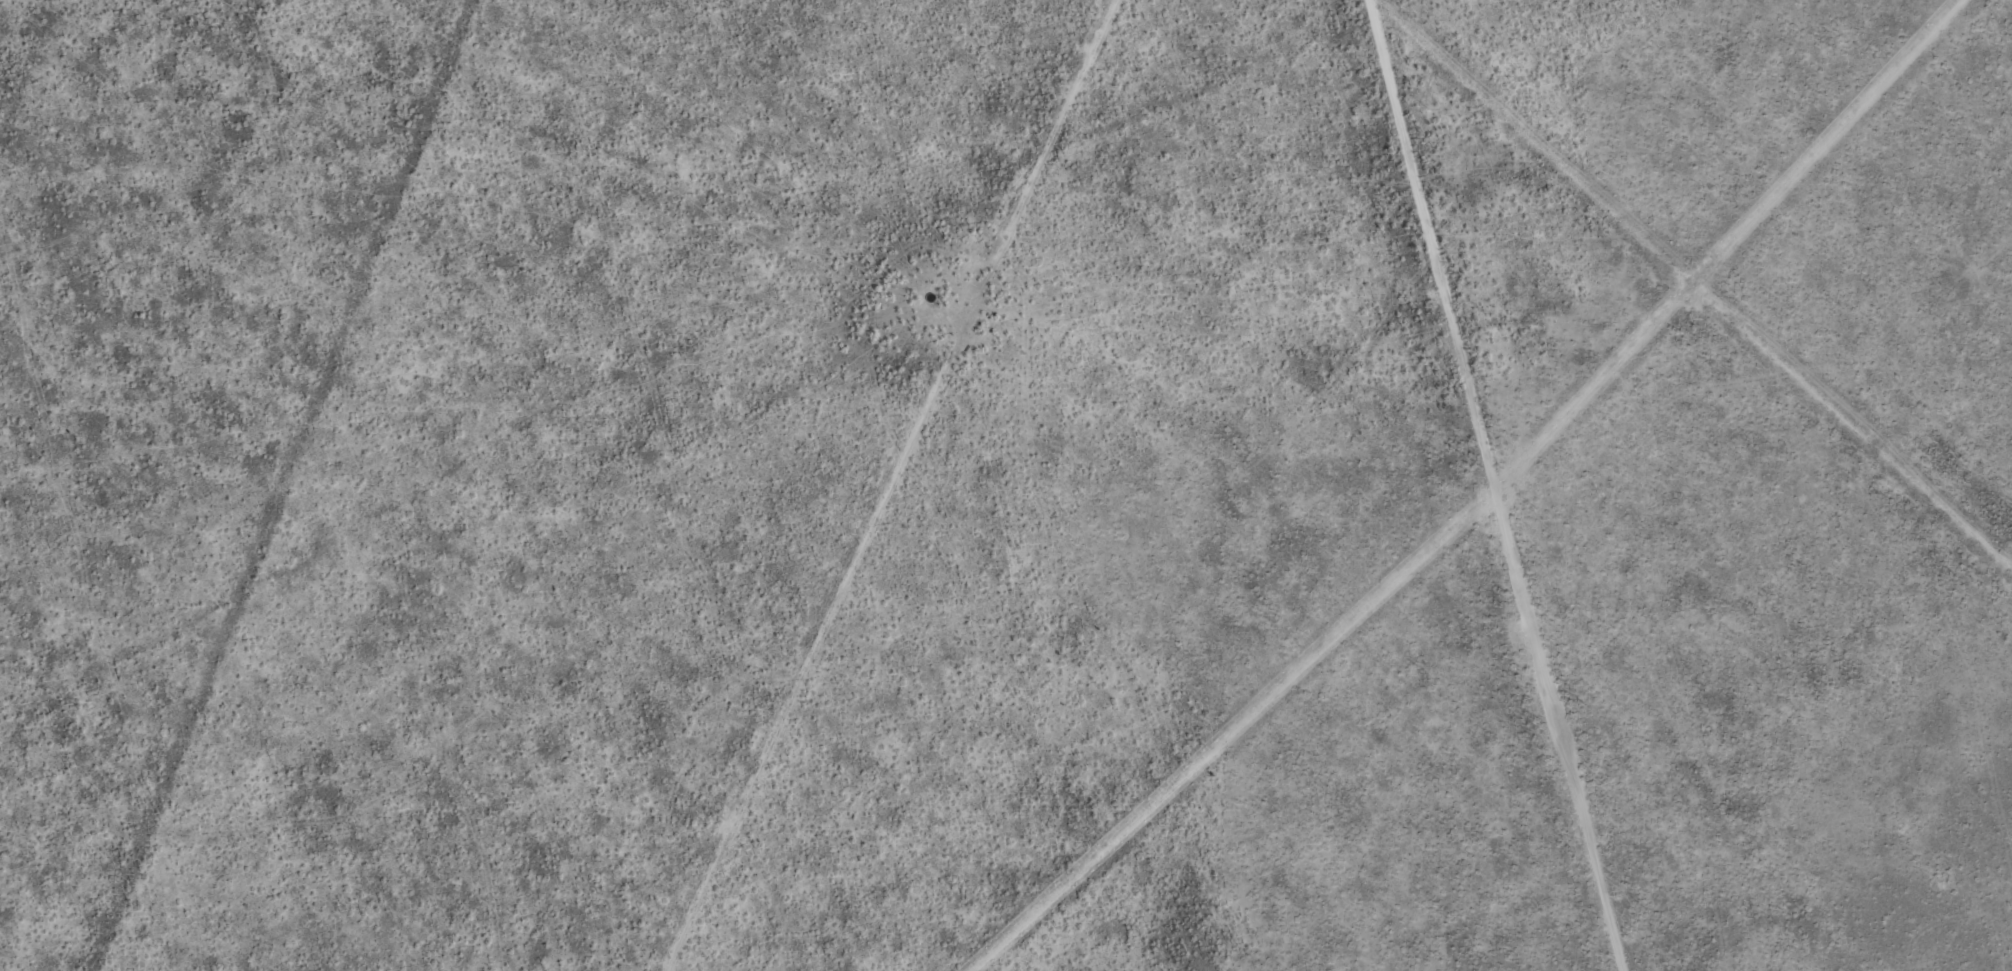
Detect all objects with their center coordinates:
road: (1497, 486)

